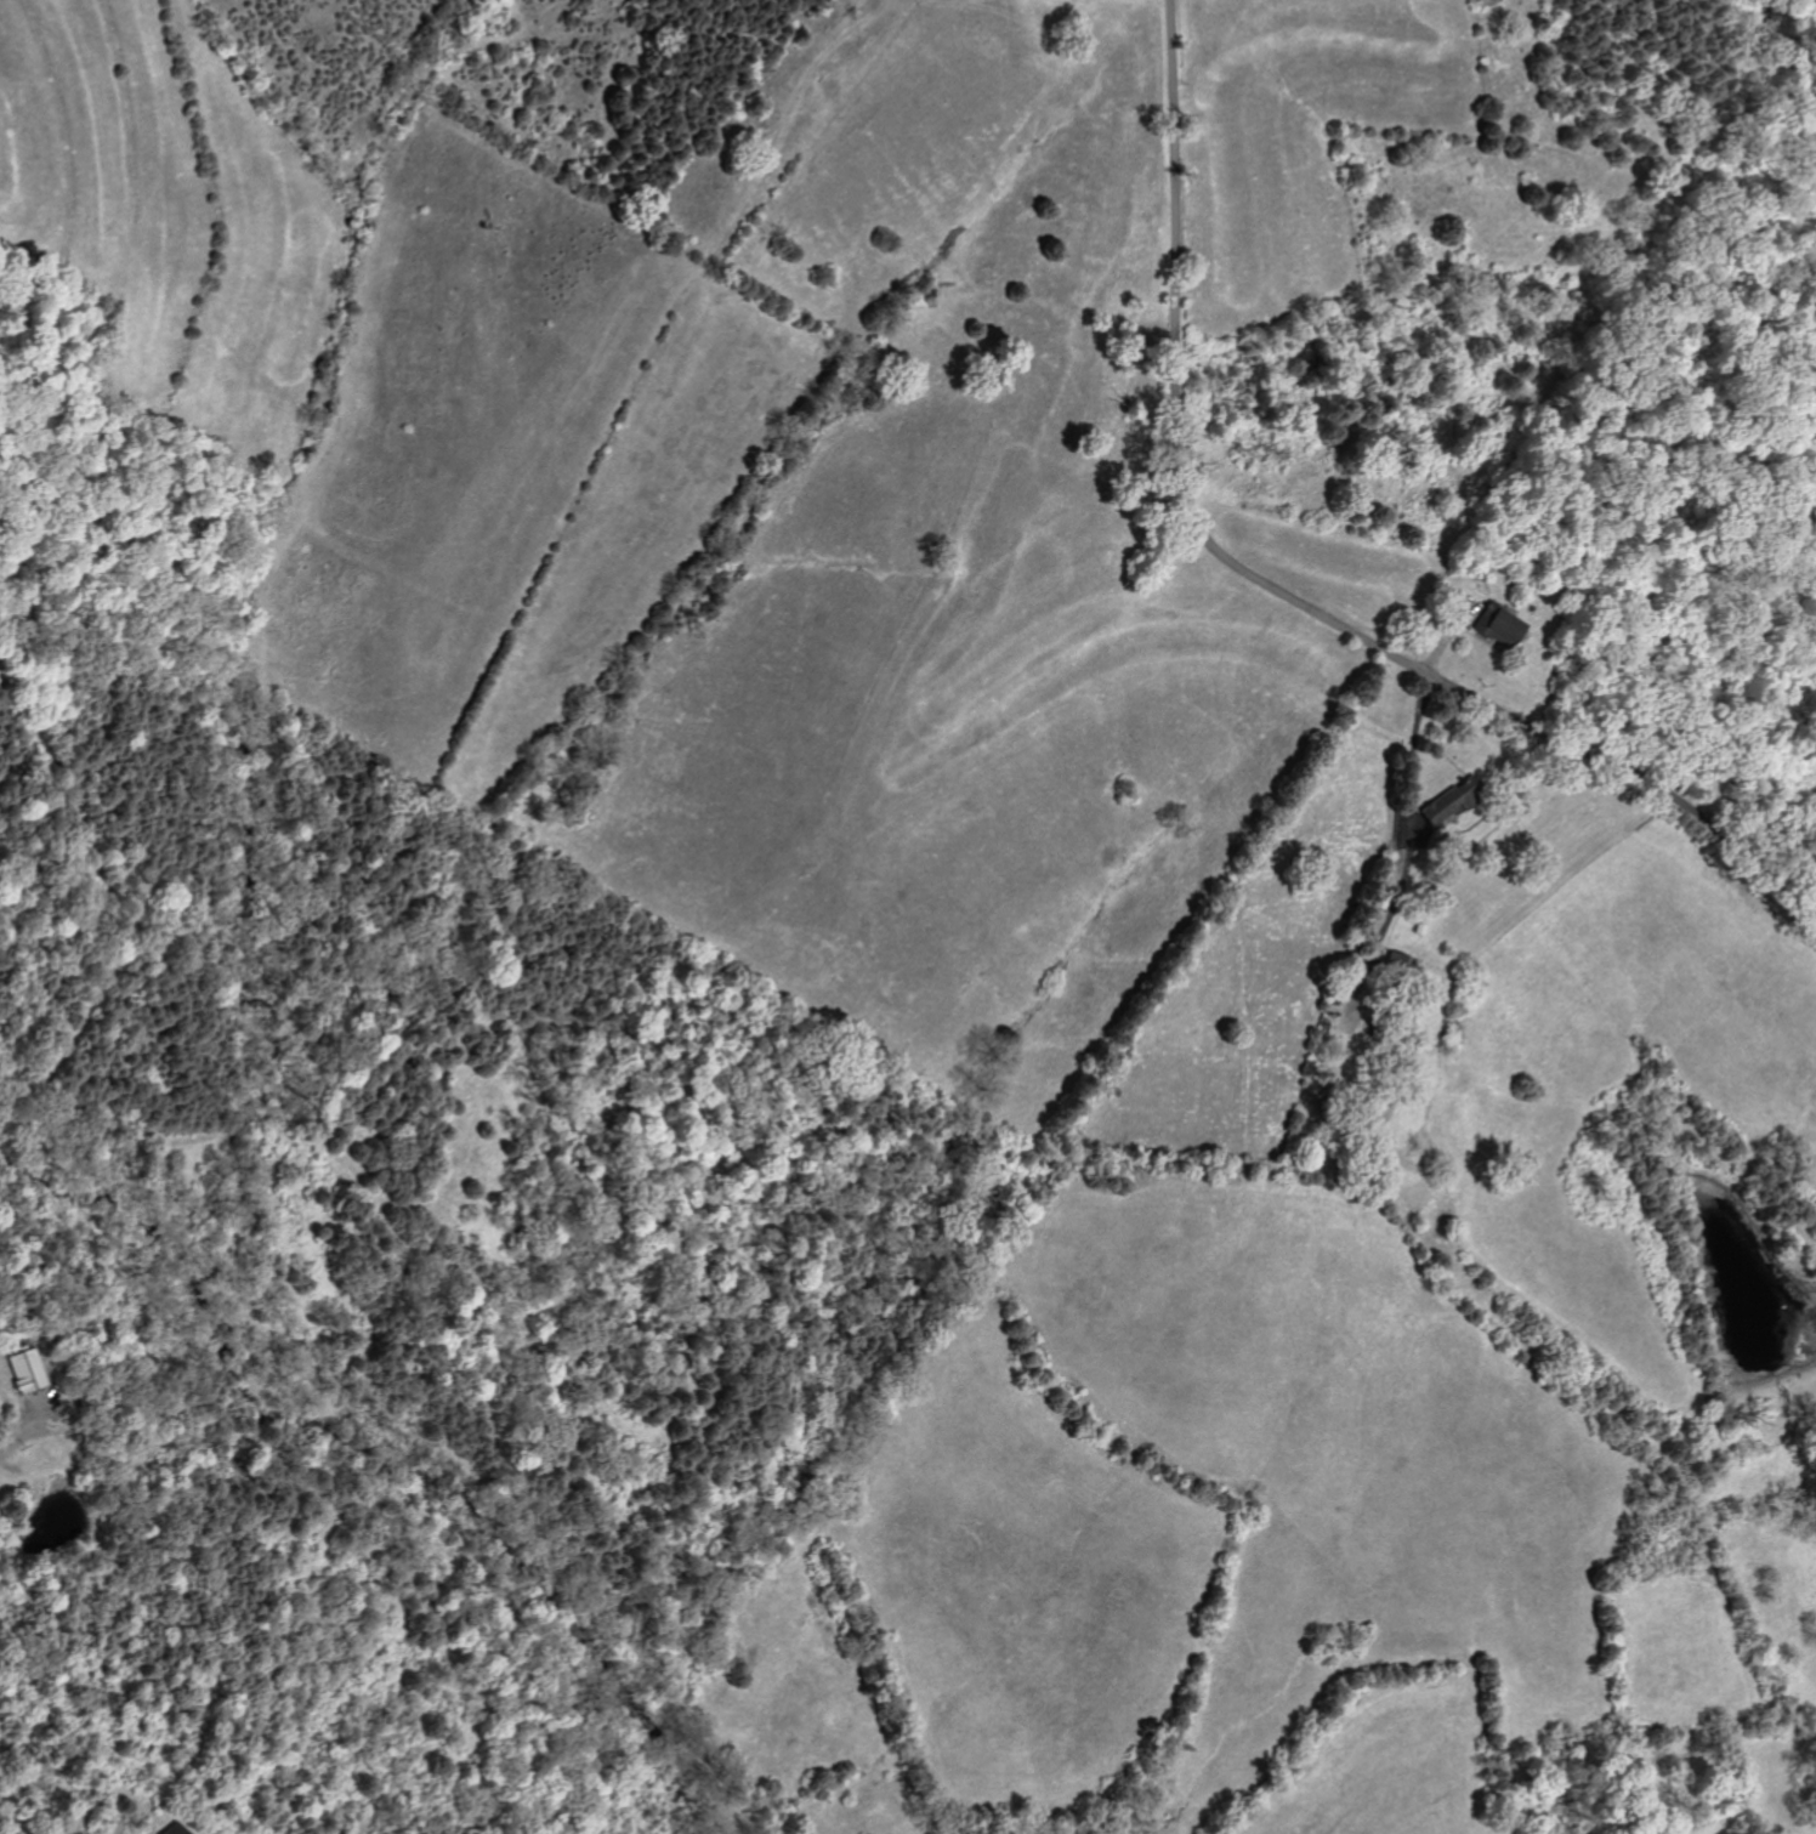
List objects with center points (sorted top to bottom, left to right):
road: (1275, 592)
building: (1494, 626)
building: (1437, 806)
road: (1407, 808)
building: (24, 1372)
road: (29, 1431)
building: (169, 1829)

